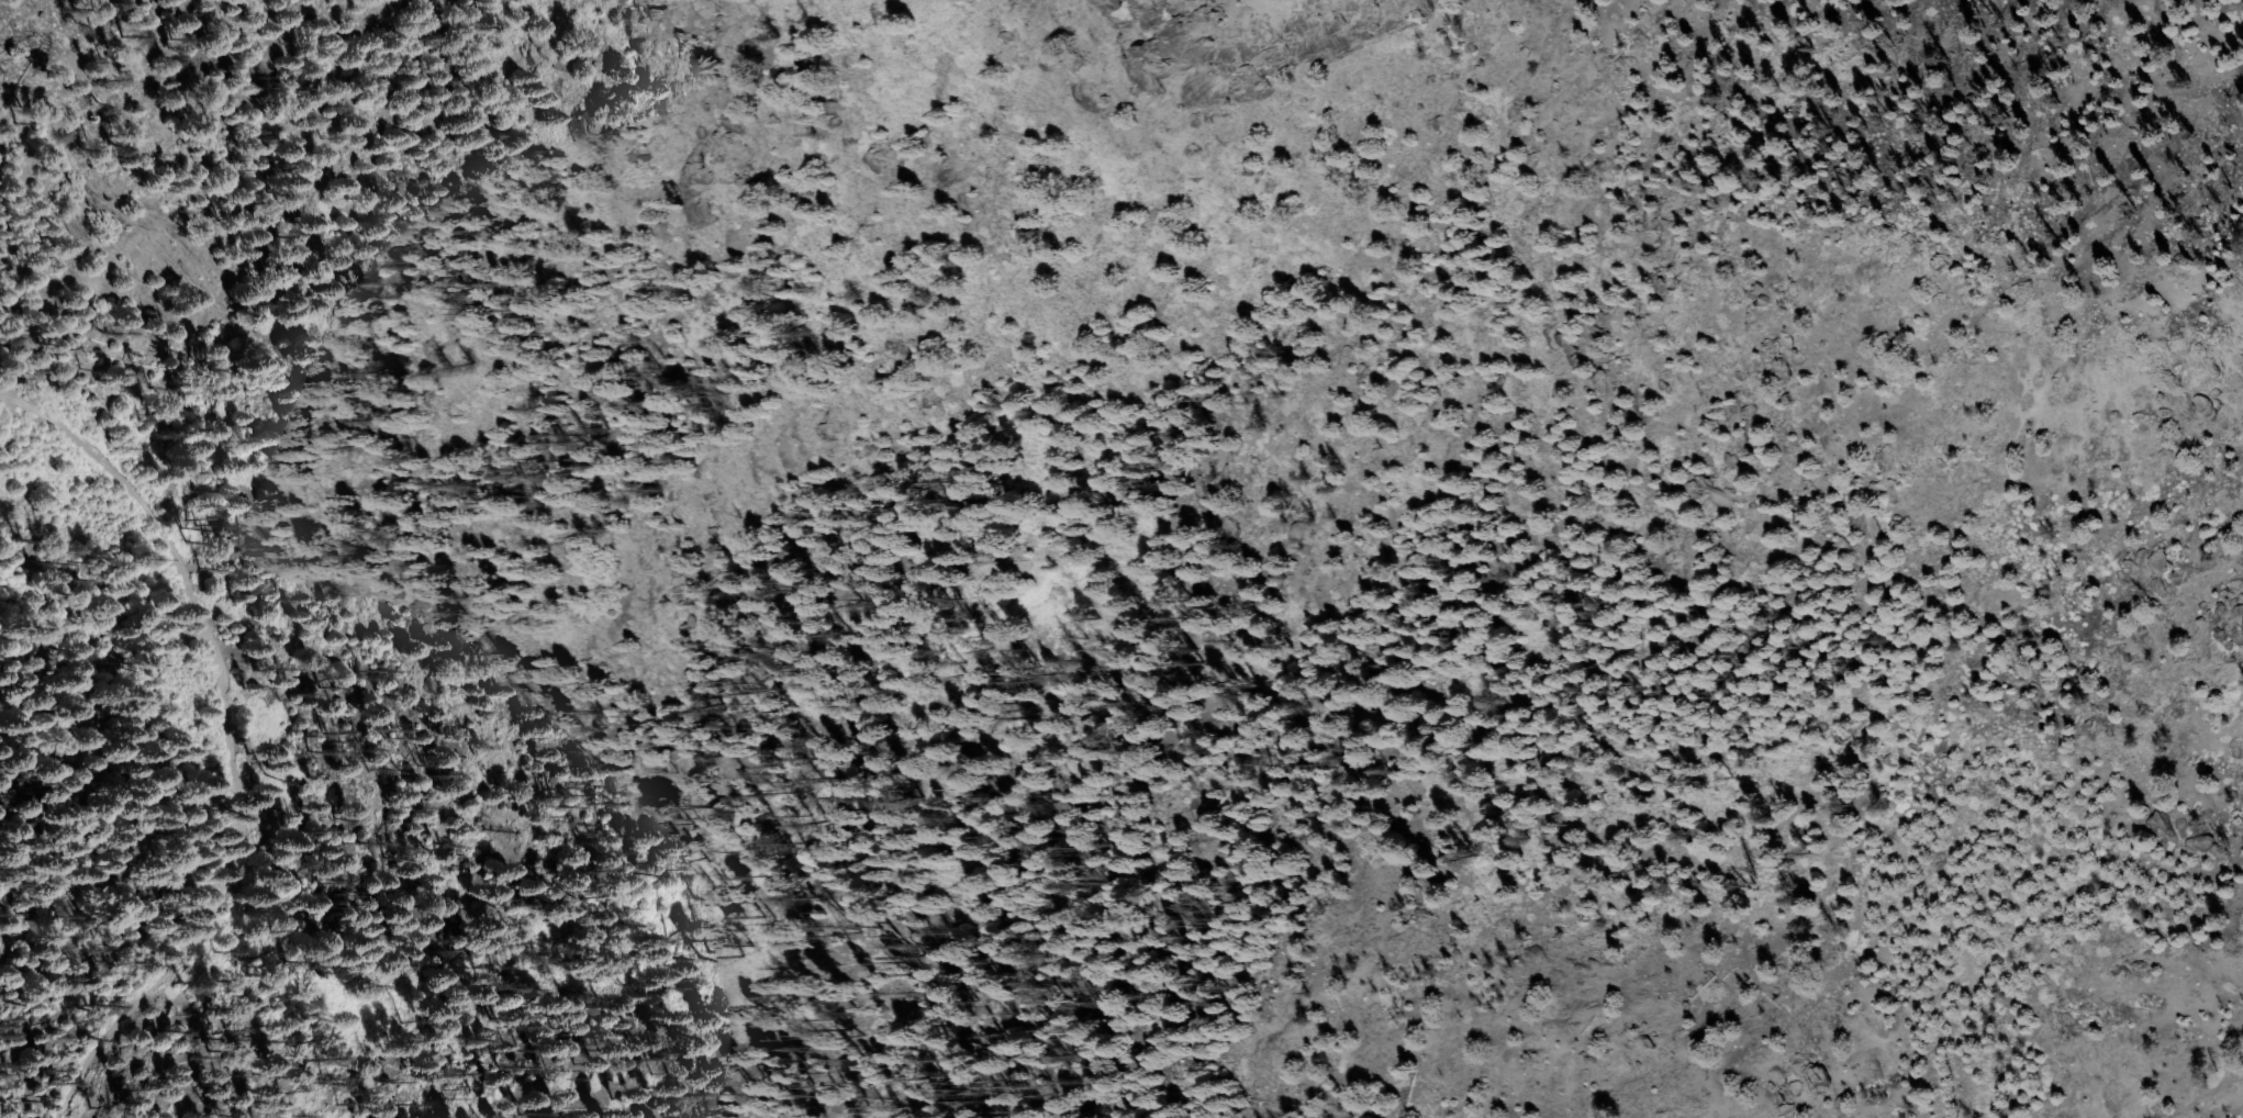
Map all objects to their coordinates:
road: (227, 735)

